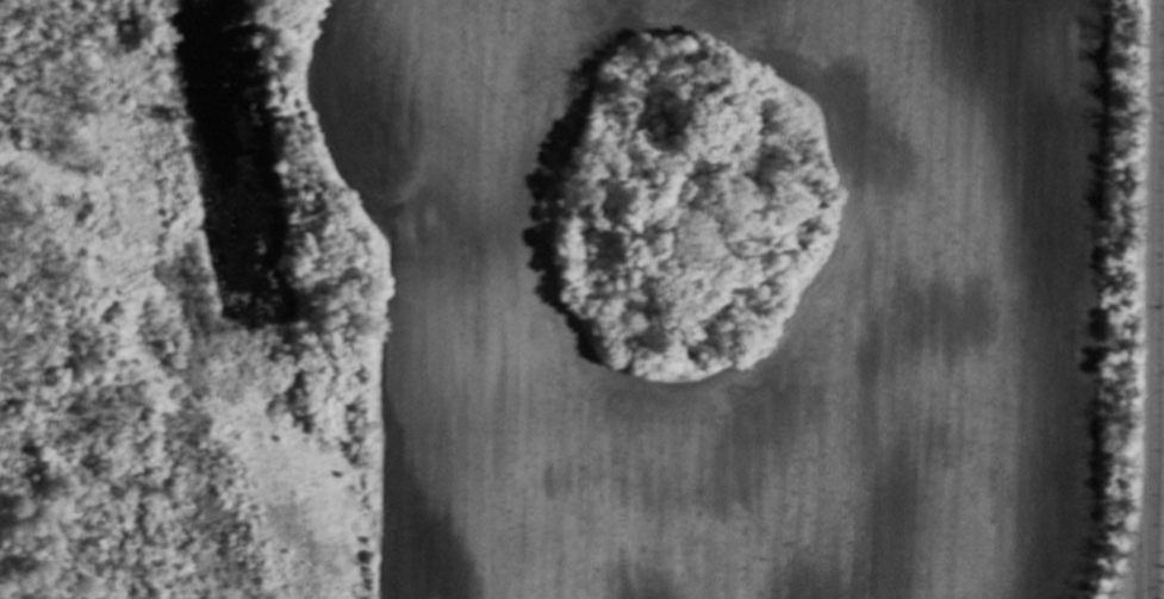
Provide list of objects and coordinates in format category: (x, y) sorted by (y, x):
road: (1151, 299)

